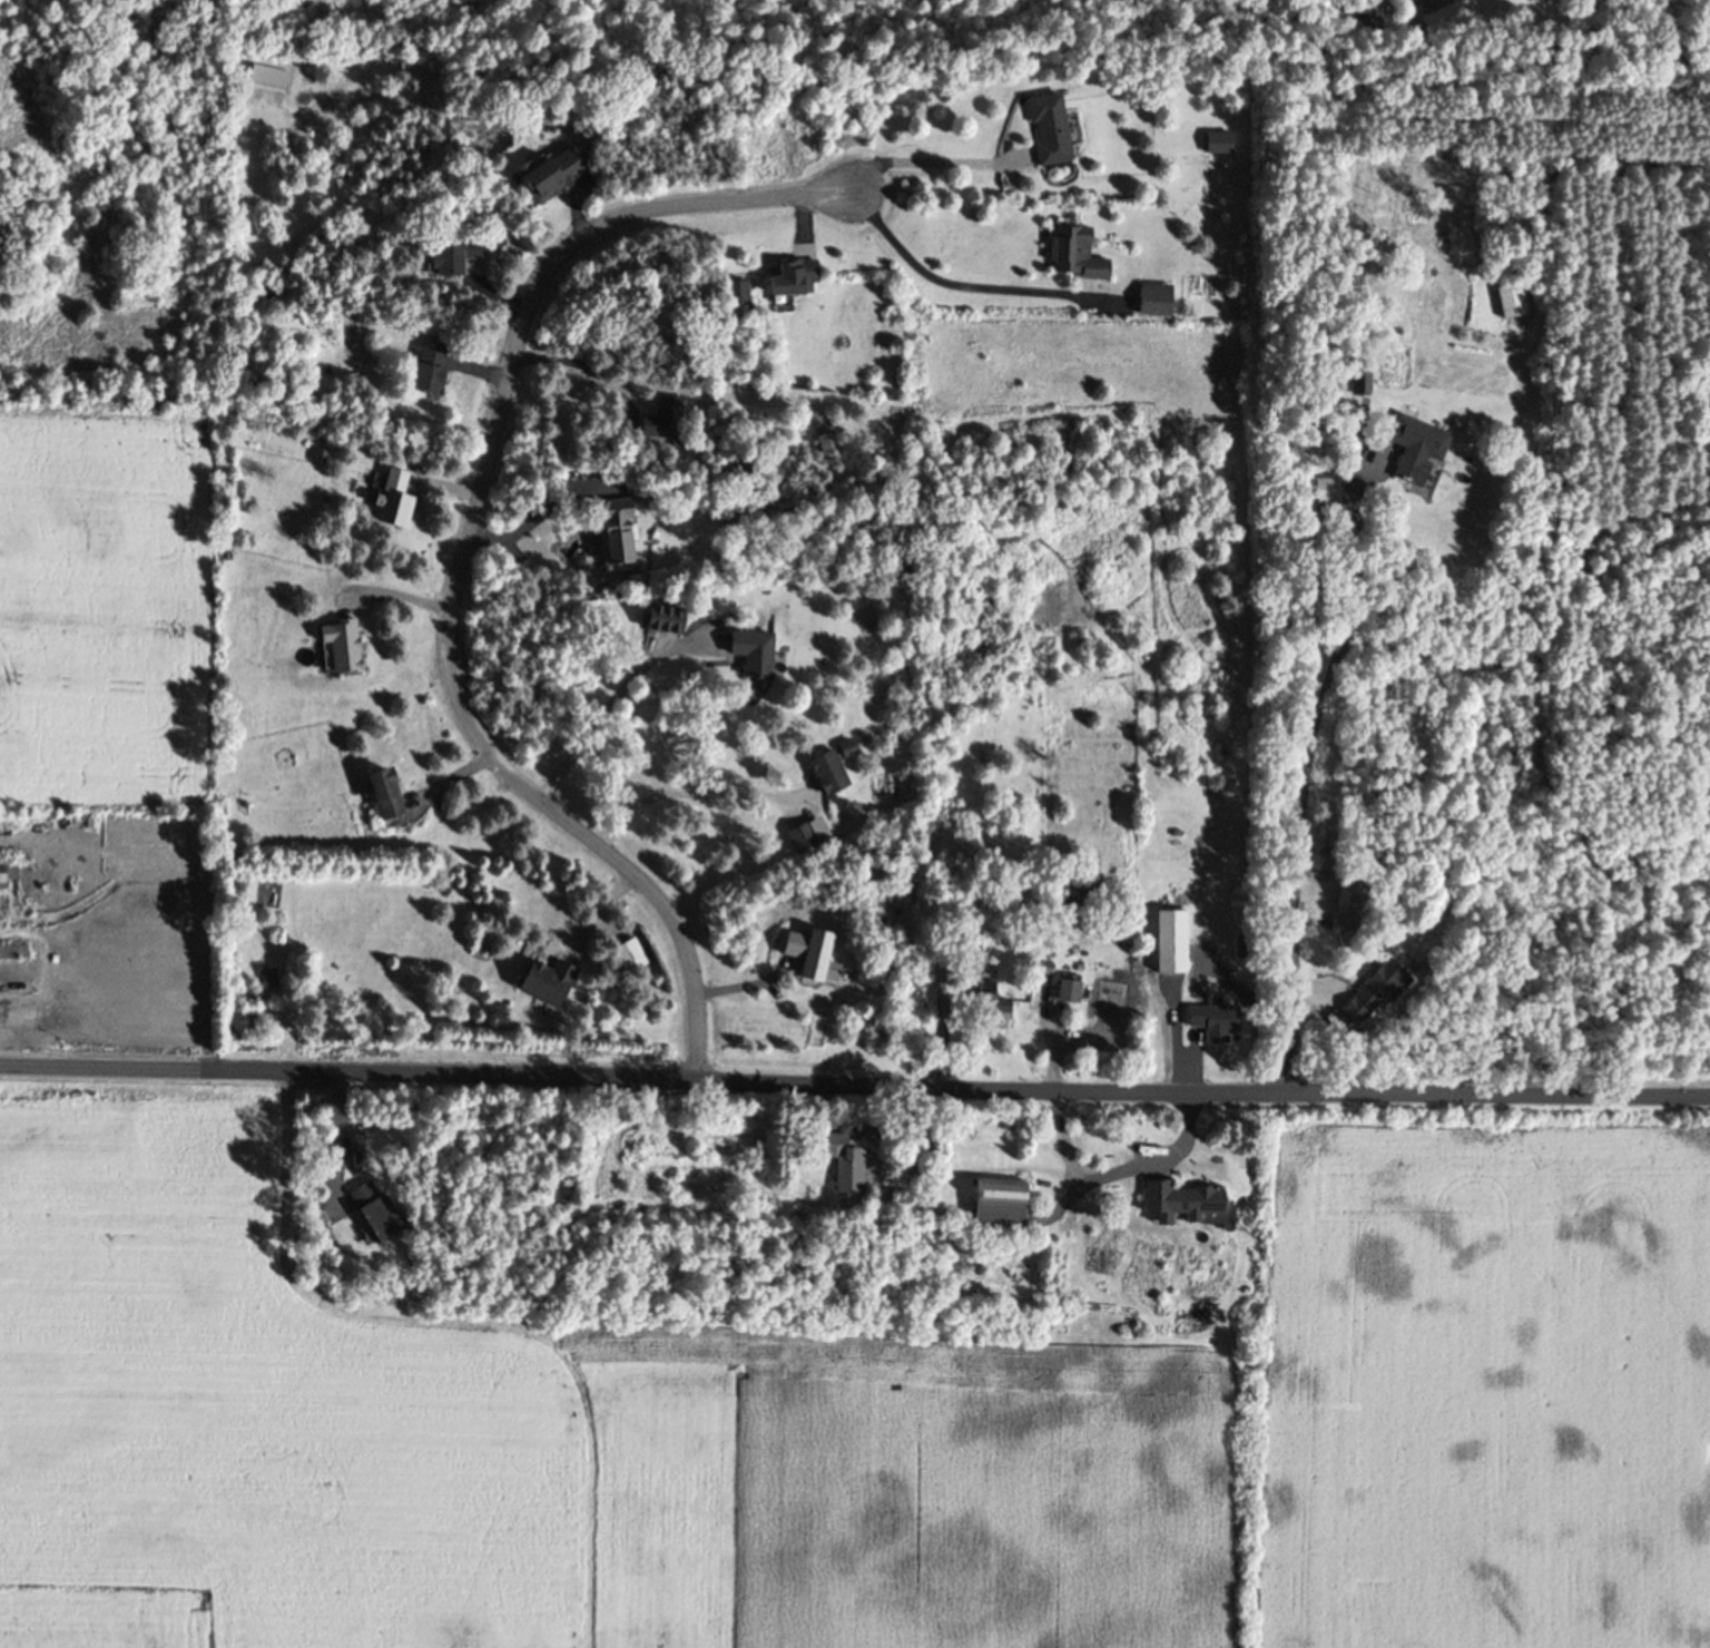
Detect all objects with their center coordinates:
building: (1353, 9)
building: (1048, 134)
building: (1219, 147)
road: (924, 163)
building: (549, 179)
building: (1073, 258)
building: (448, 259)
building: (790, 283)
road: (960, 285)
building: (736, 298)
building: (1151, 303)
building: (1504, 305)
building: (425, 374)
building: (1356, 384)
road: (665, 386)
building: (660, 423)
building: (1409, 453)
building: (1325, 494)
building: (393, 504)
road: (539, 524)
building: (612, 538)
road: (468, 559)
road: (395, 597)
building: (338, 649)
building: (750, 657)
road: (613, 696)
building: (846, 754)
road: (1306, 766)
building: (825, 777)
building: (382, 798)
road: (689, 798)
building: (803, 841)
building: (11, 881)
building: (1171, 946)
building: (632, 961)
building: (809, 964)
building: (267, 982)
building: (547, 985)
building: (1067, 993)
building: (1368, 998)
building: (991, 1001)
building: (1215, 1022)
road: (854, 1086)
road: (337, 1136)
building: (838, 1165)
building: (1175, 1207)
building: (992, 1212)
building: (367, 1214)

